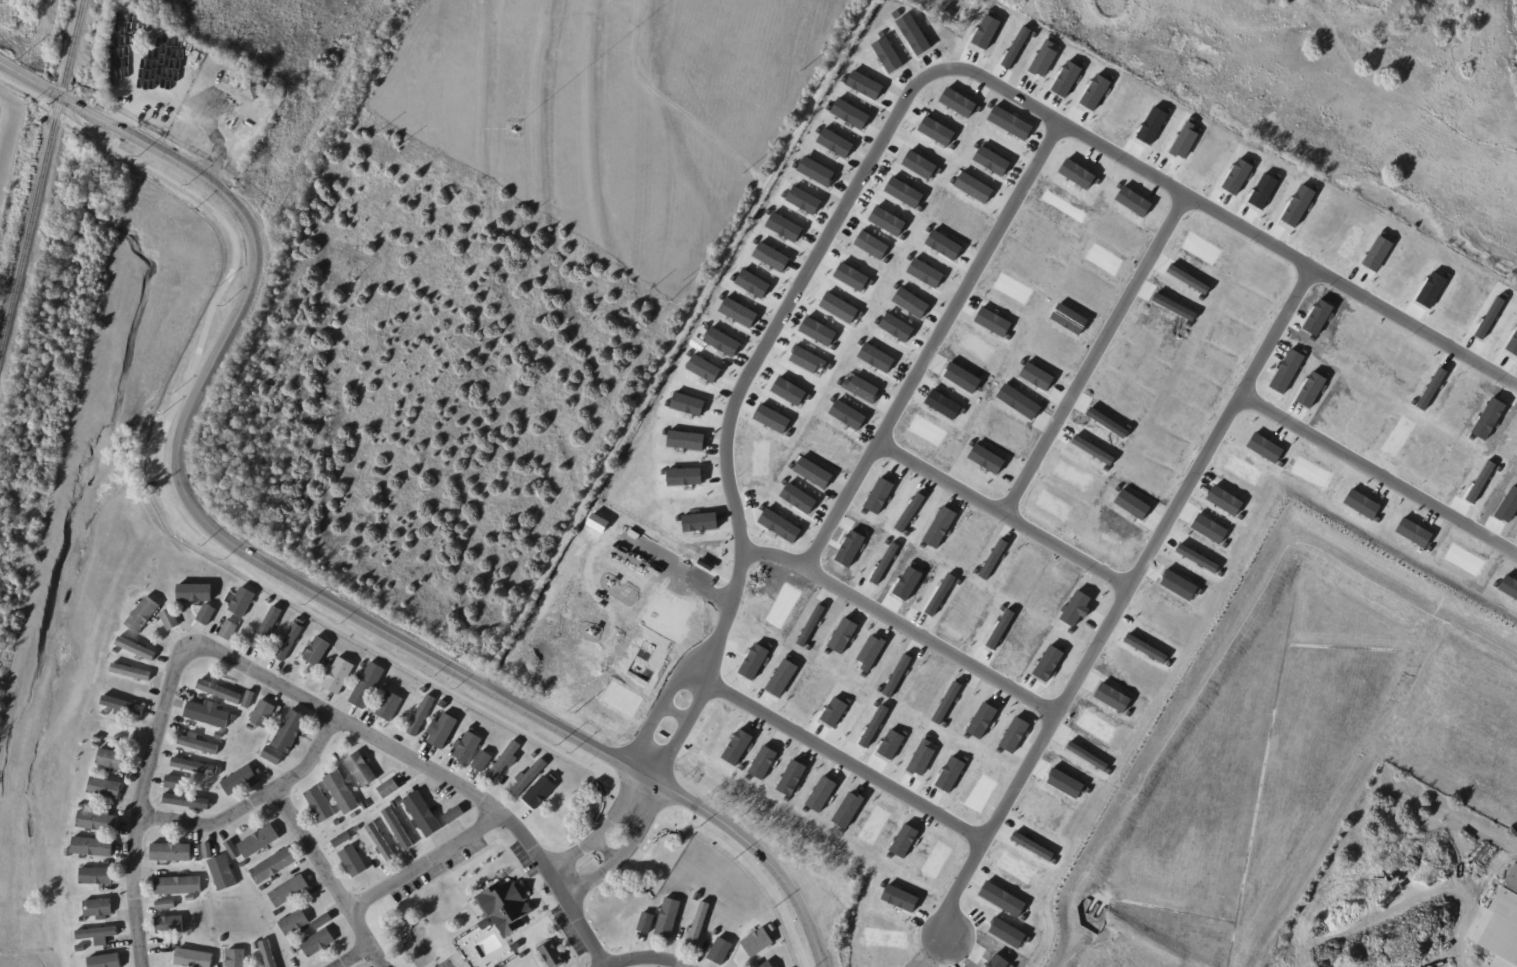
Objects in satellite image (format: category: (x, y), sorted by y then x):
road: (1468, 20)
road: (1455, 60)
road: (1376, 84)
building: (253, 90)
park: (1342, 94)
railway: (41, 177)
road: (1199, 195)
road: (1419, 323)
road: (940, 341)
road: (676, 343)
road: (1102, 350)
road: (1382, 467)
road: (1011, 508)
road: (265, 567)
road: (259, 578)
building: (198, 592)
building: (270, 600)
building: (242, 602)
building: (207, 614)
building: (143, 615)
building: (171, 619)
road: (908, 620)
building: (268, 628)
building: (230, 629)
building: (297, 630)
building: (136, 649)
building: (287, 650)
building: (116, 651)
building: (317, 652)
road: (711, 659)
building: (332, 660)
building: (326, 663)
building: (363, 664)
building: (131, 673)
building: (339, 676)
building: (369, 685)
building: (387, 686)
road: (284, 688)
building: (425, 690)
building: (222, 691)
building: (250, 699)
building: (129, 705)
building: (218, 705)
building: (390, 706)
building: (106, 712)
building: (199, 712)
building: (264, 714)
building: (422, 716)
building: (252, 727)
building: (444, 730)
building: (292, 731)
building: (121, 733)
building: (220, 735)
building: (99, 738)
building: (199, 743)
building: (98, 745)
building: (468, 748)
building: (274, 755)
building: (535, 755)
road: (851, 758)
building: (112, 760)
building: (504, 761)
building: (483, 762)
building: (195, 766)
building: (362, 770)
building: (555, 777)
building: (529, 778)
building: (242, 780)
building: (176, 783)
building: (105, 788)
building: (389, 788)
building: (342, 793)
building: (541, 793)
building: (85, 798)
building: (188, 801)
road: (252, 802)
building: (321, 805)
building: (395, 805)
building: (83, 806)
building: (366, 806)
building: (423, 814)
building: (455, 814)
building: (98, 821)
building: (369, 821)
building: (338, 823)
building: (398, 827)
road: (602, 829)
building: (343, 840)
building: (261, 841)
building: (380, 842)
building: (93, 847)
building: (234, 850)
building: (209, 851)
building: (171, 852)
road: (625, 852)
building: (69, 853)
road: (510, 853)
parking lot: (522, 857)
building: (198, 859)
road: (425, 861)
building: (354, 862)
building: (244, 864)
building: (274, 867)
parking lot: (438, 867)
building: (224, 873)
building: (96, 877)
road: (330, 877)
building: (178, 886)
building: (264, 888)
building: (290, 891)
building: (698, 897)
building: (504, 904)
building: (167, 905)
building: (219, 906)
building: (98, 908)
building: (278, 913)
road: (446, 917)
building: (669, 918)
building: (83, 920)
building: (324, 921)
road: (532, 921)
building: (765, 921)
building: (483, 922)
building: (647, 922)
building: (294, 923)
building: (699, 924)
building: (170, 925)
building: (1499, 925)
parking lot: (568, 930)
building: (97, 933)
building: (716, 933)
building: (223, 939)
building: (175, 941)
building: (318, 943)
building: (757, 943)
building: (513, 944)
building: (257, 946)
road: (528, 949)
building: (295, 950)
building: (721, 951)
building: (521, 953)
building: (269, 954)
building: (552, 954)
road: (352, 955)
road: (645, 957)
building: (194, 958)
building: (236, 958)
building: (106, 961)
park: (446, 964)
building: (758, 965)
building: (767, 965)

